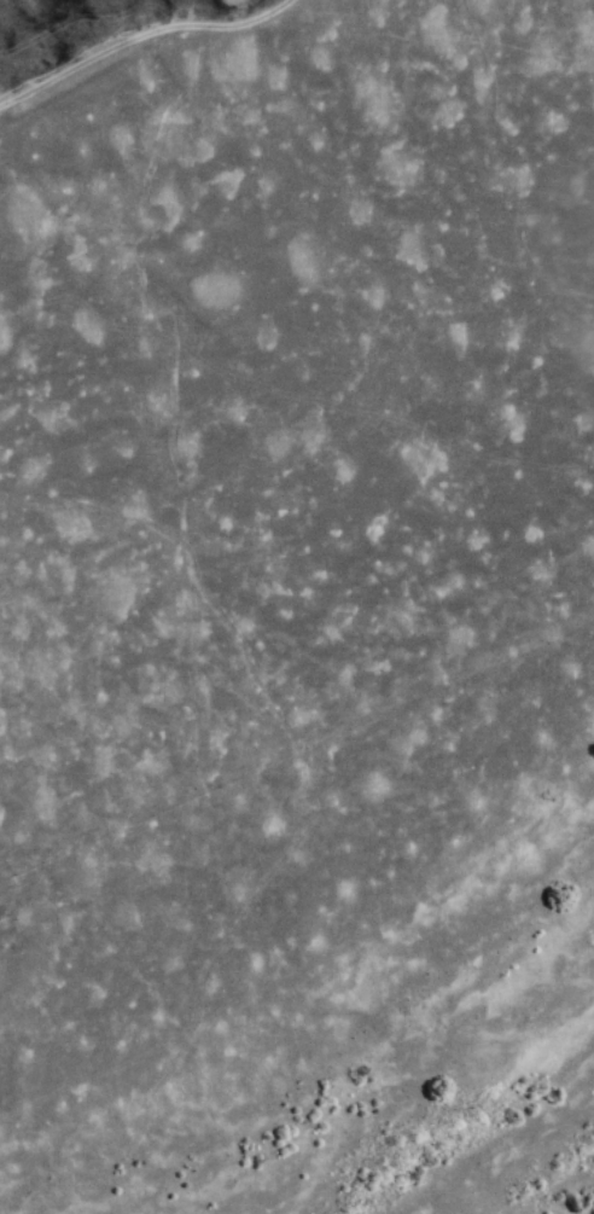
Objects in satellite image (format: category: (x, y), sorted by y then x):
road: (138, 30)
road: (318, 955)

